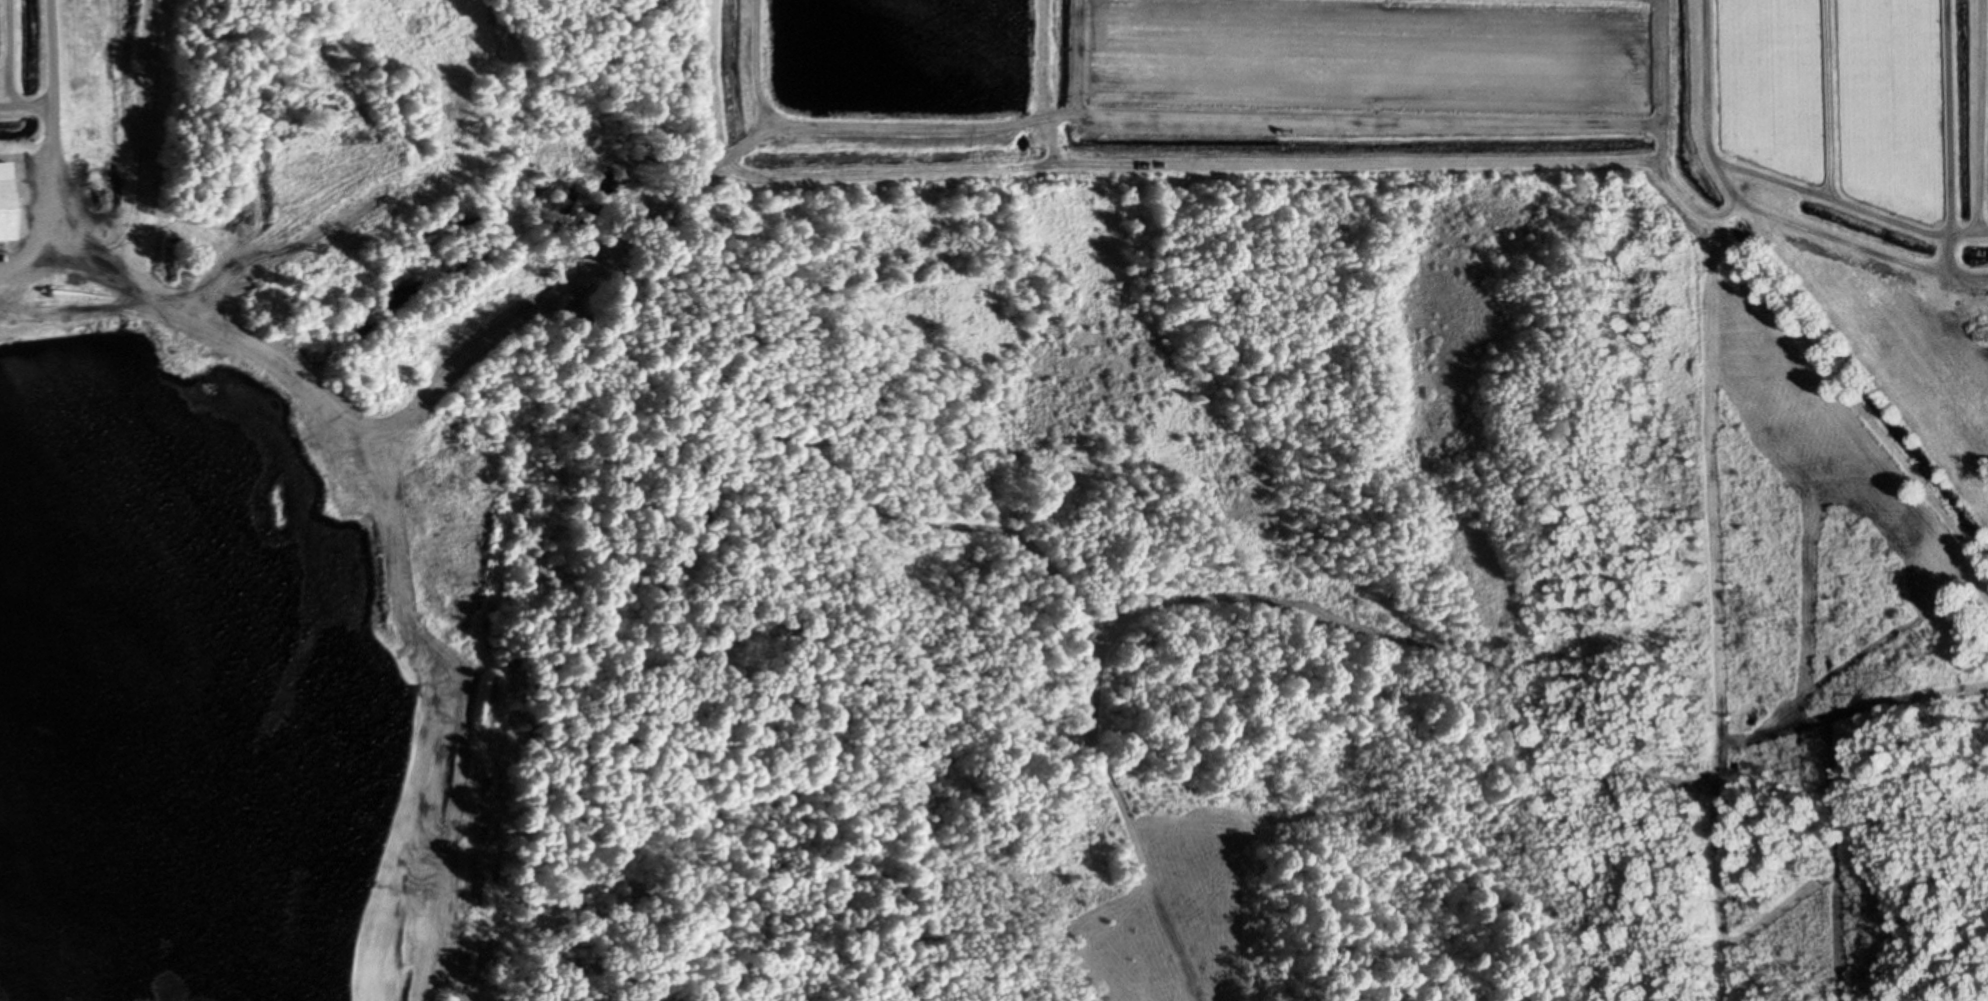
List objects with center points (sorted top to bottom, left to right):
crop: (78, 68)
crop: (1555, 91)
building: (2, 203)
building: (1986, 324)

